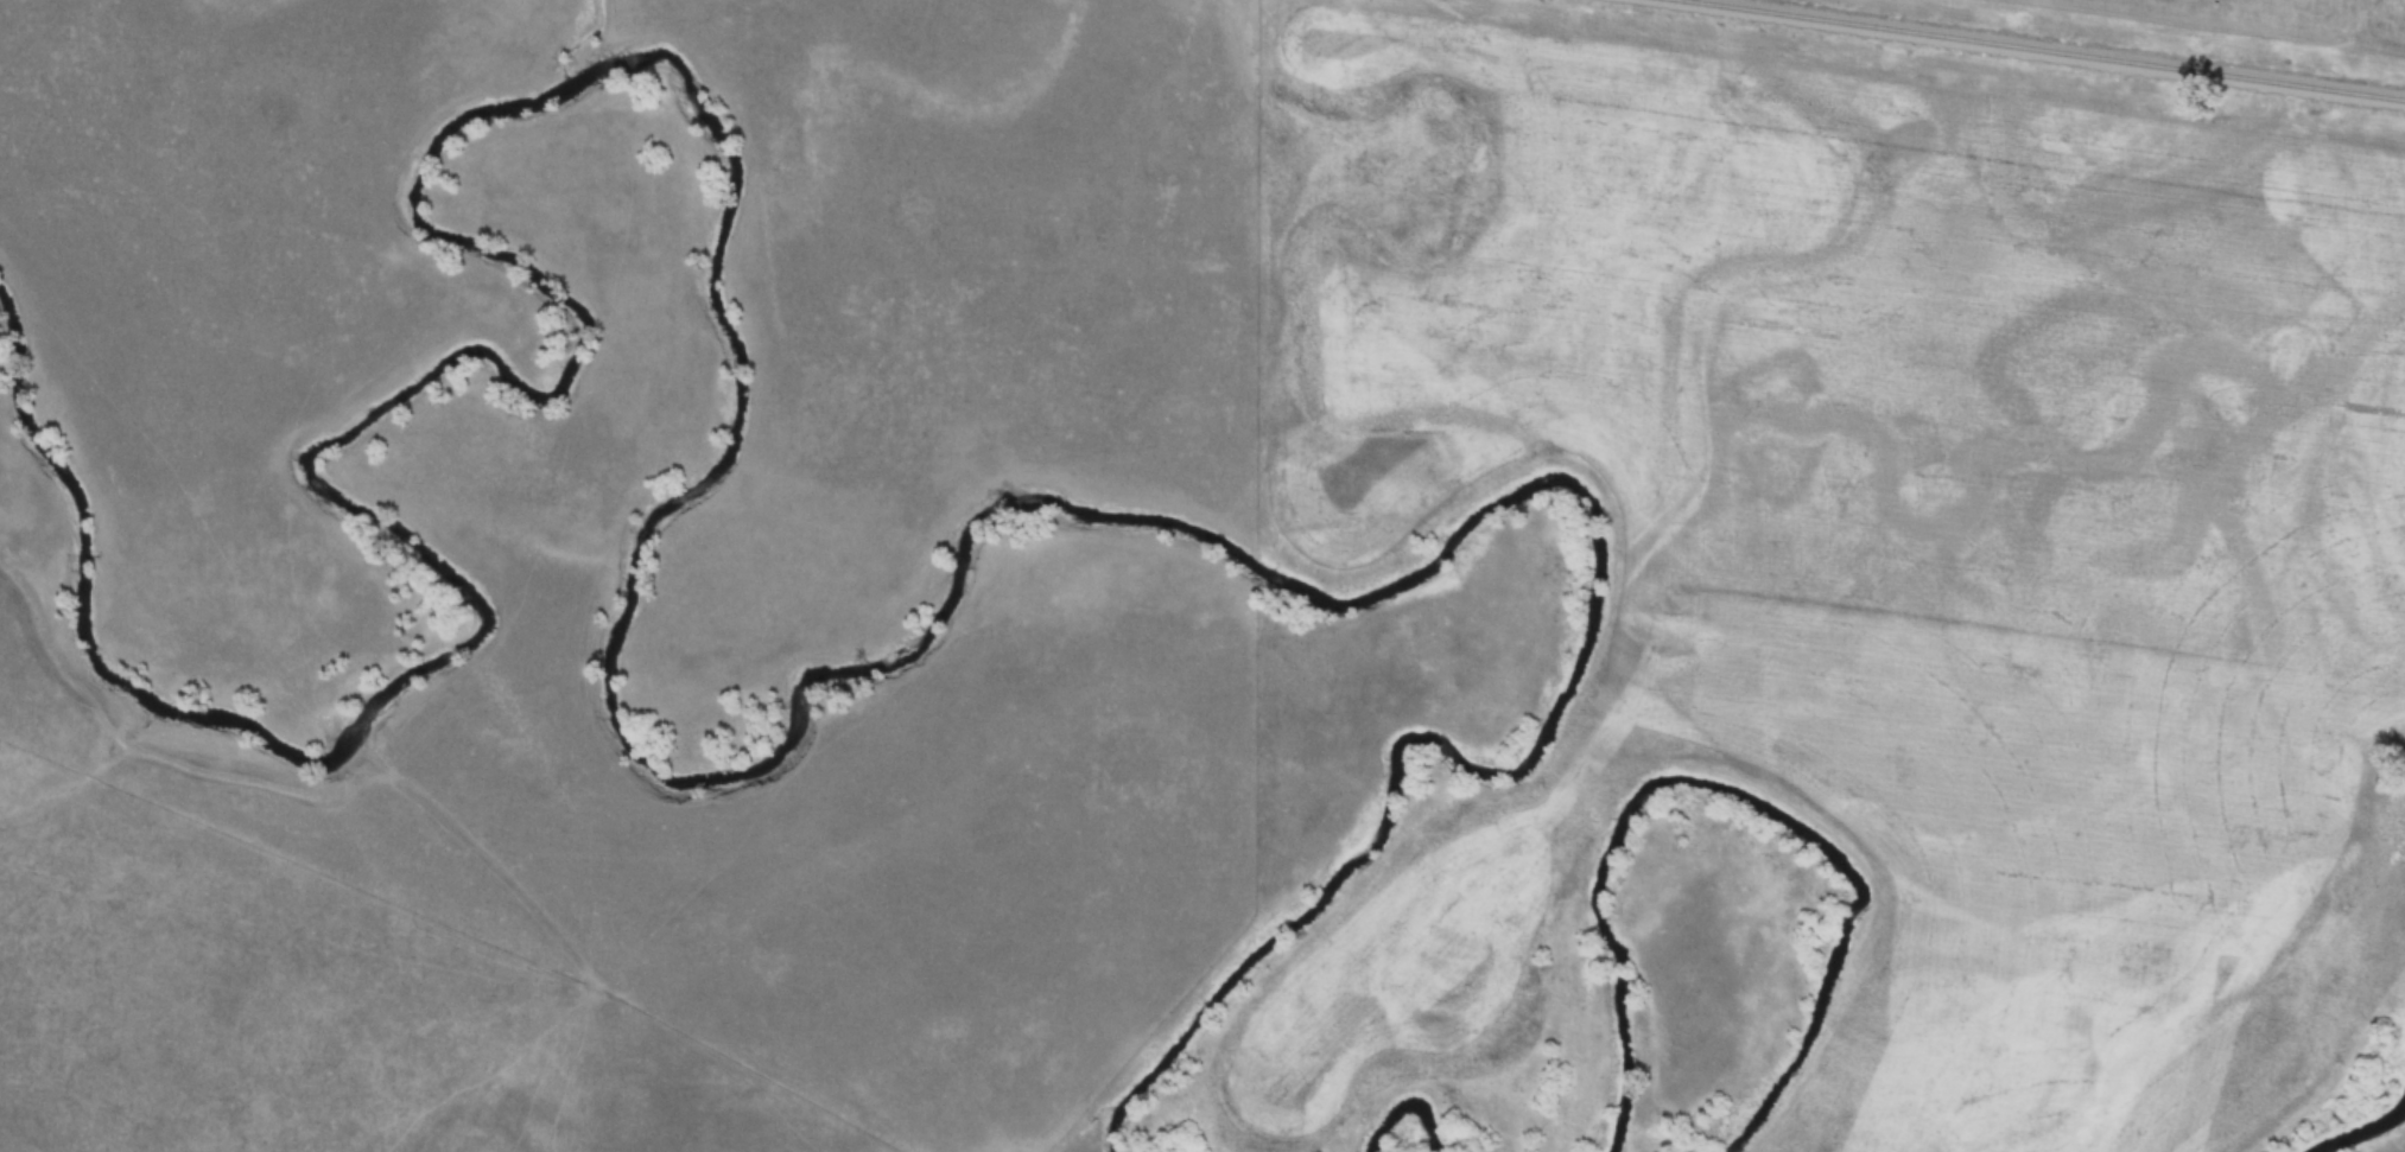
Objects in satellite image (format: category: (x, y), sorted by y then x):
railway: (2048, 50)
crop: (1883, 549)

